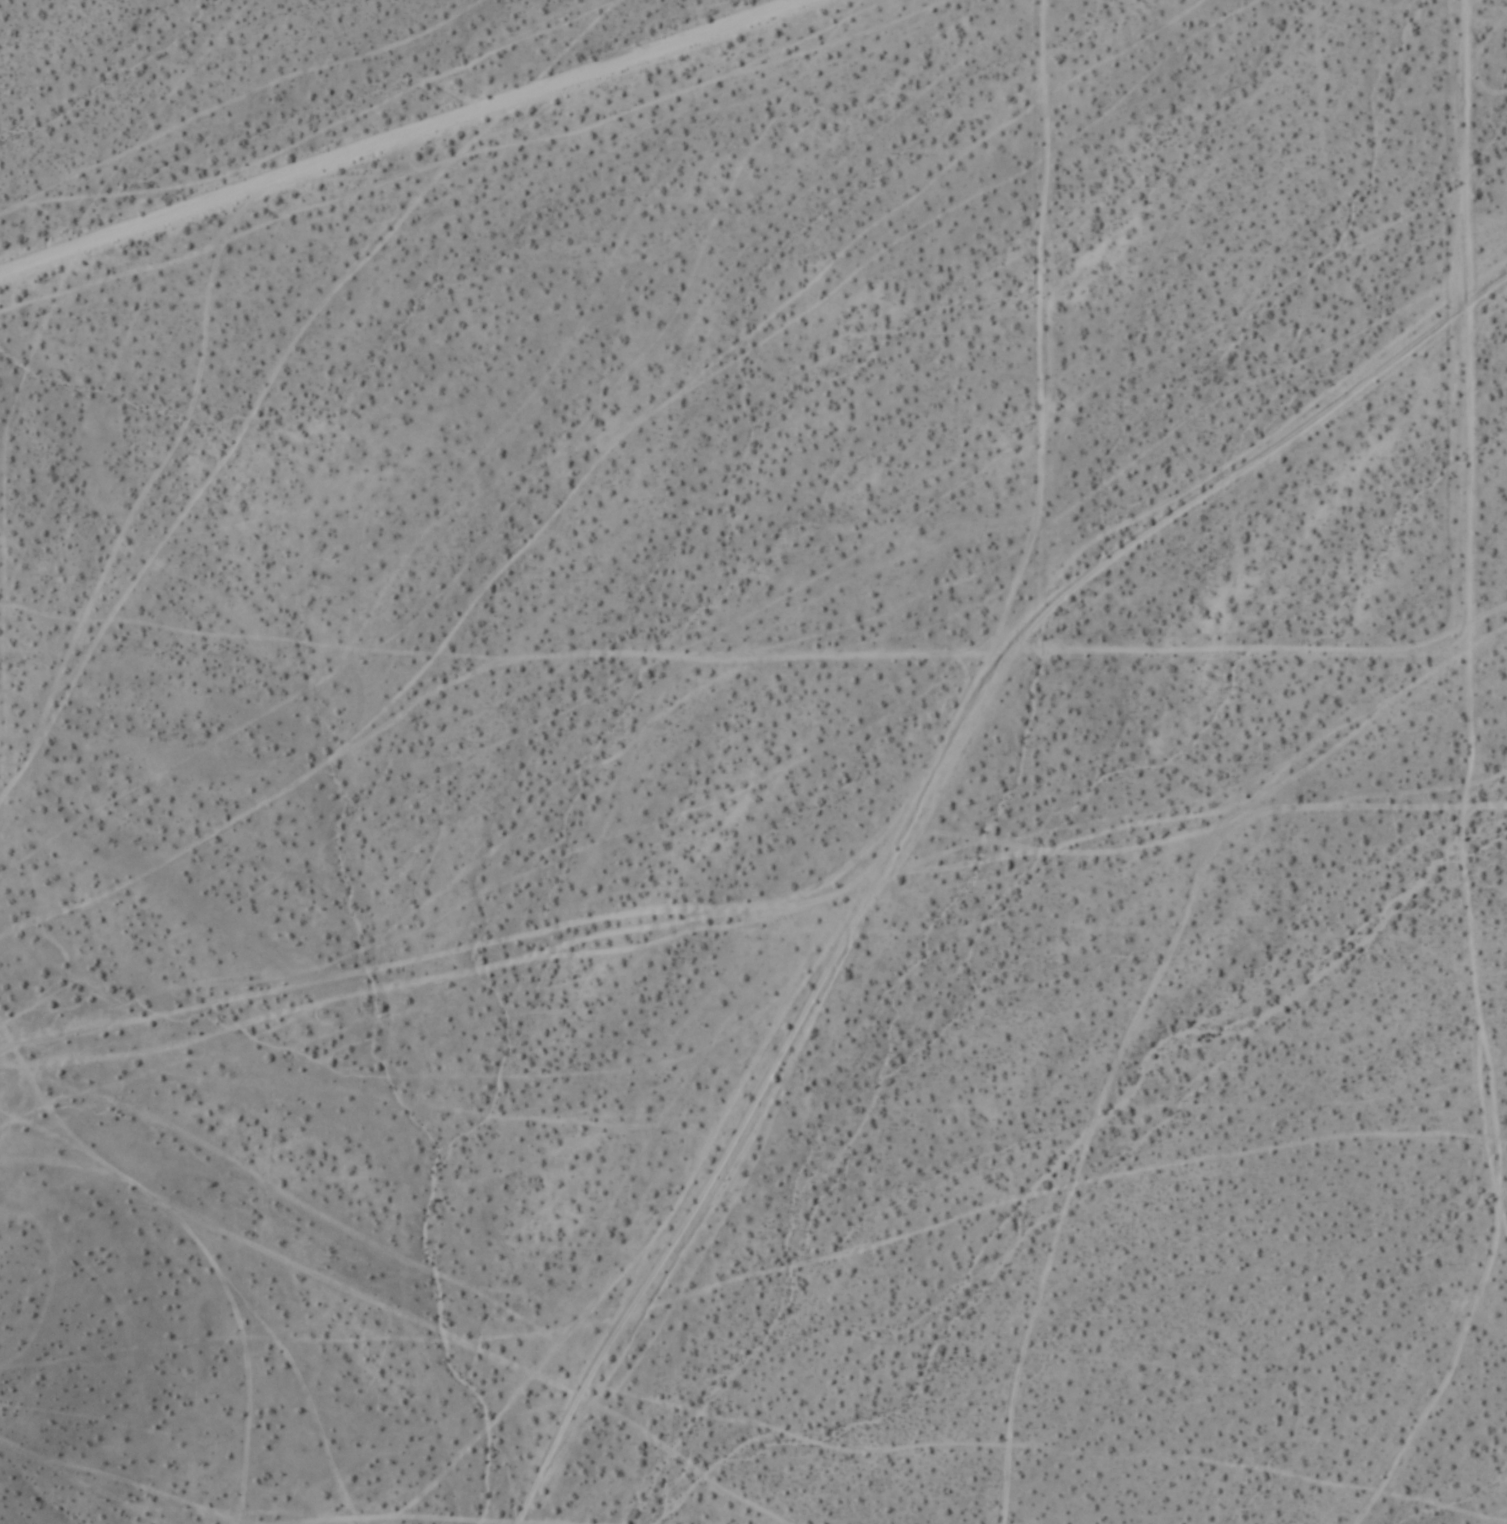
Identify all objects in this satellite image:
road: (399, 136)

